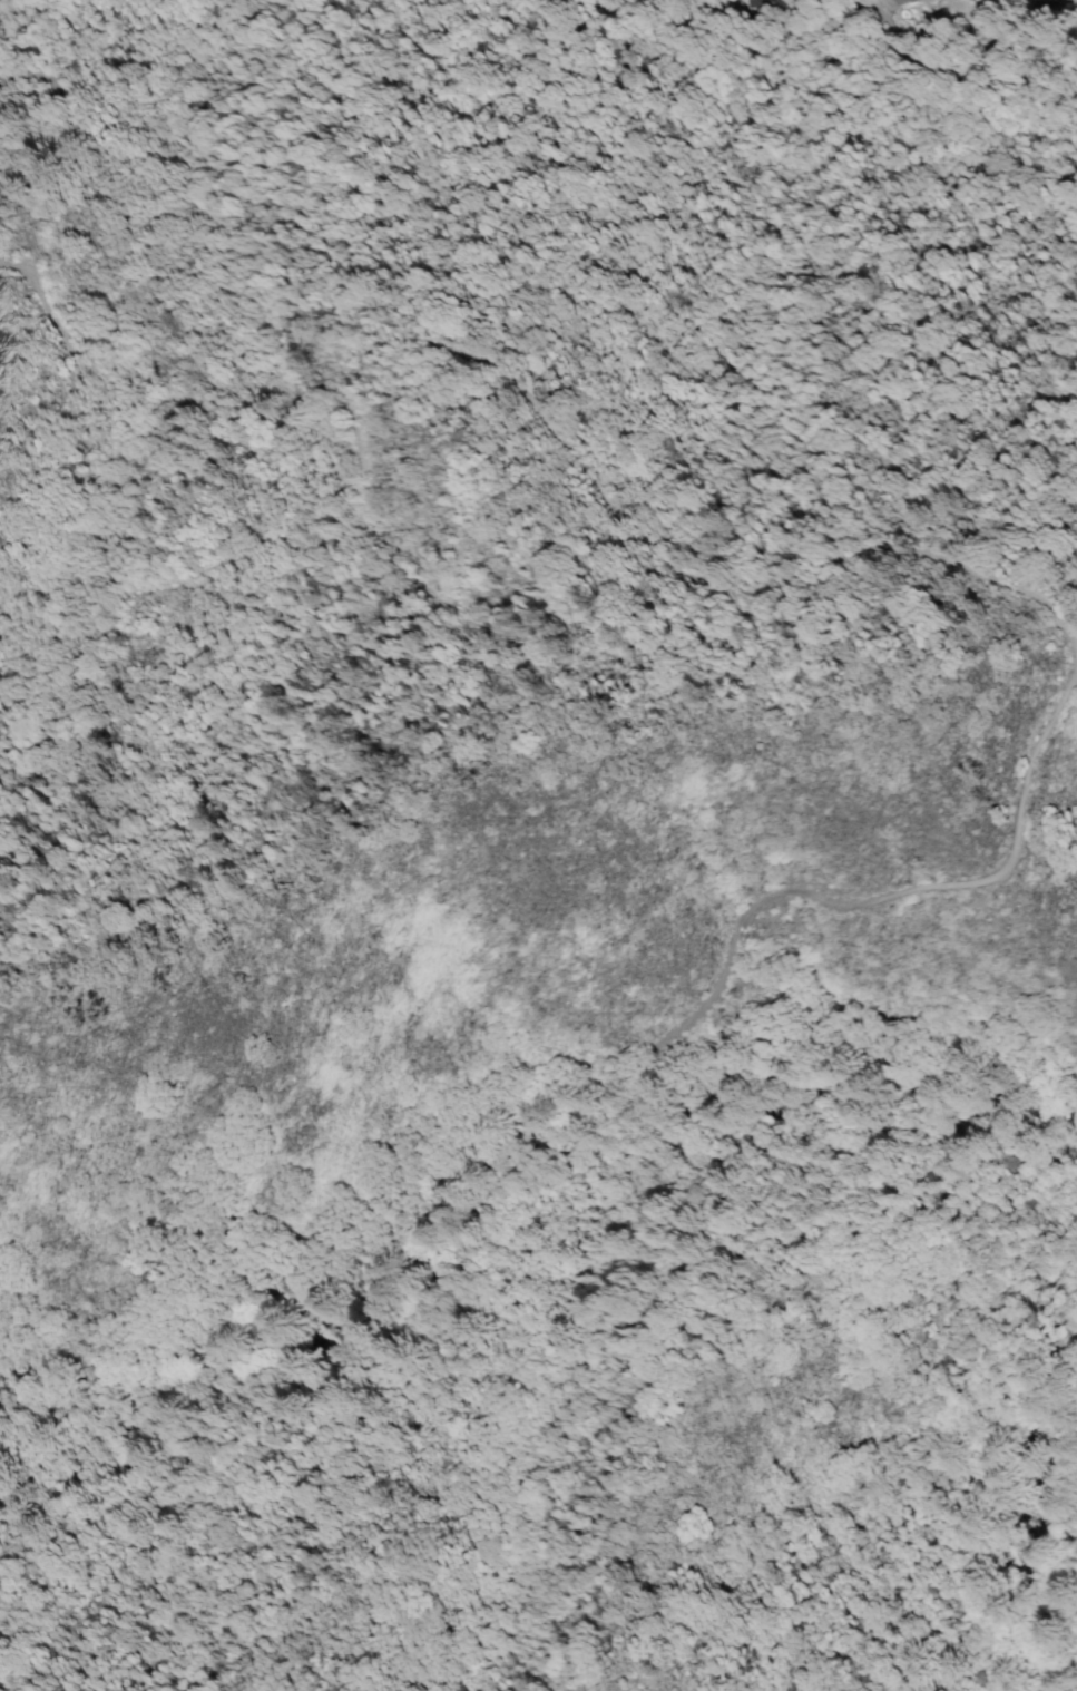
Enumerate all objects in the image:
building: (911, 0)
building: (757, 2)
road: (50, 79)
road: (547, 426)
road: (84, 431)
road: (138, 475)
road: (37, 536)
road: (76, 568)
road: (597, 1060)
road: (281, 1297)
road: (1000, 1490)

